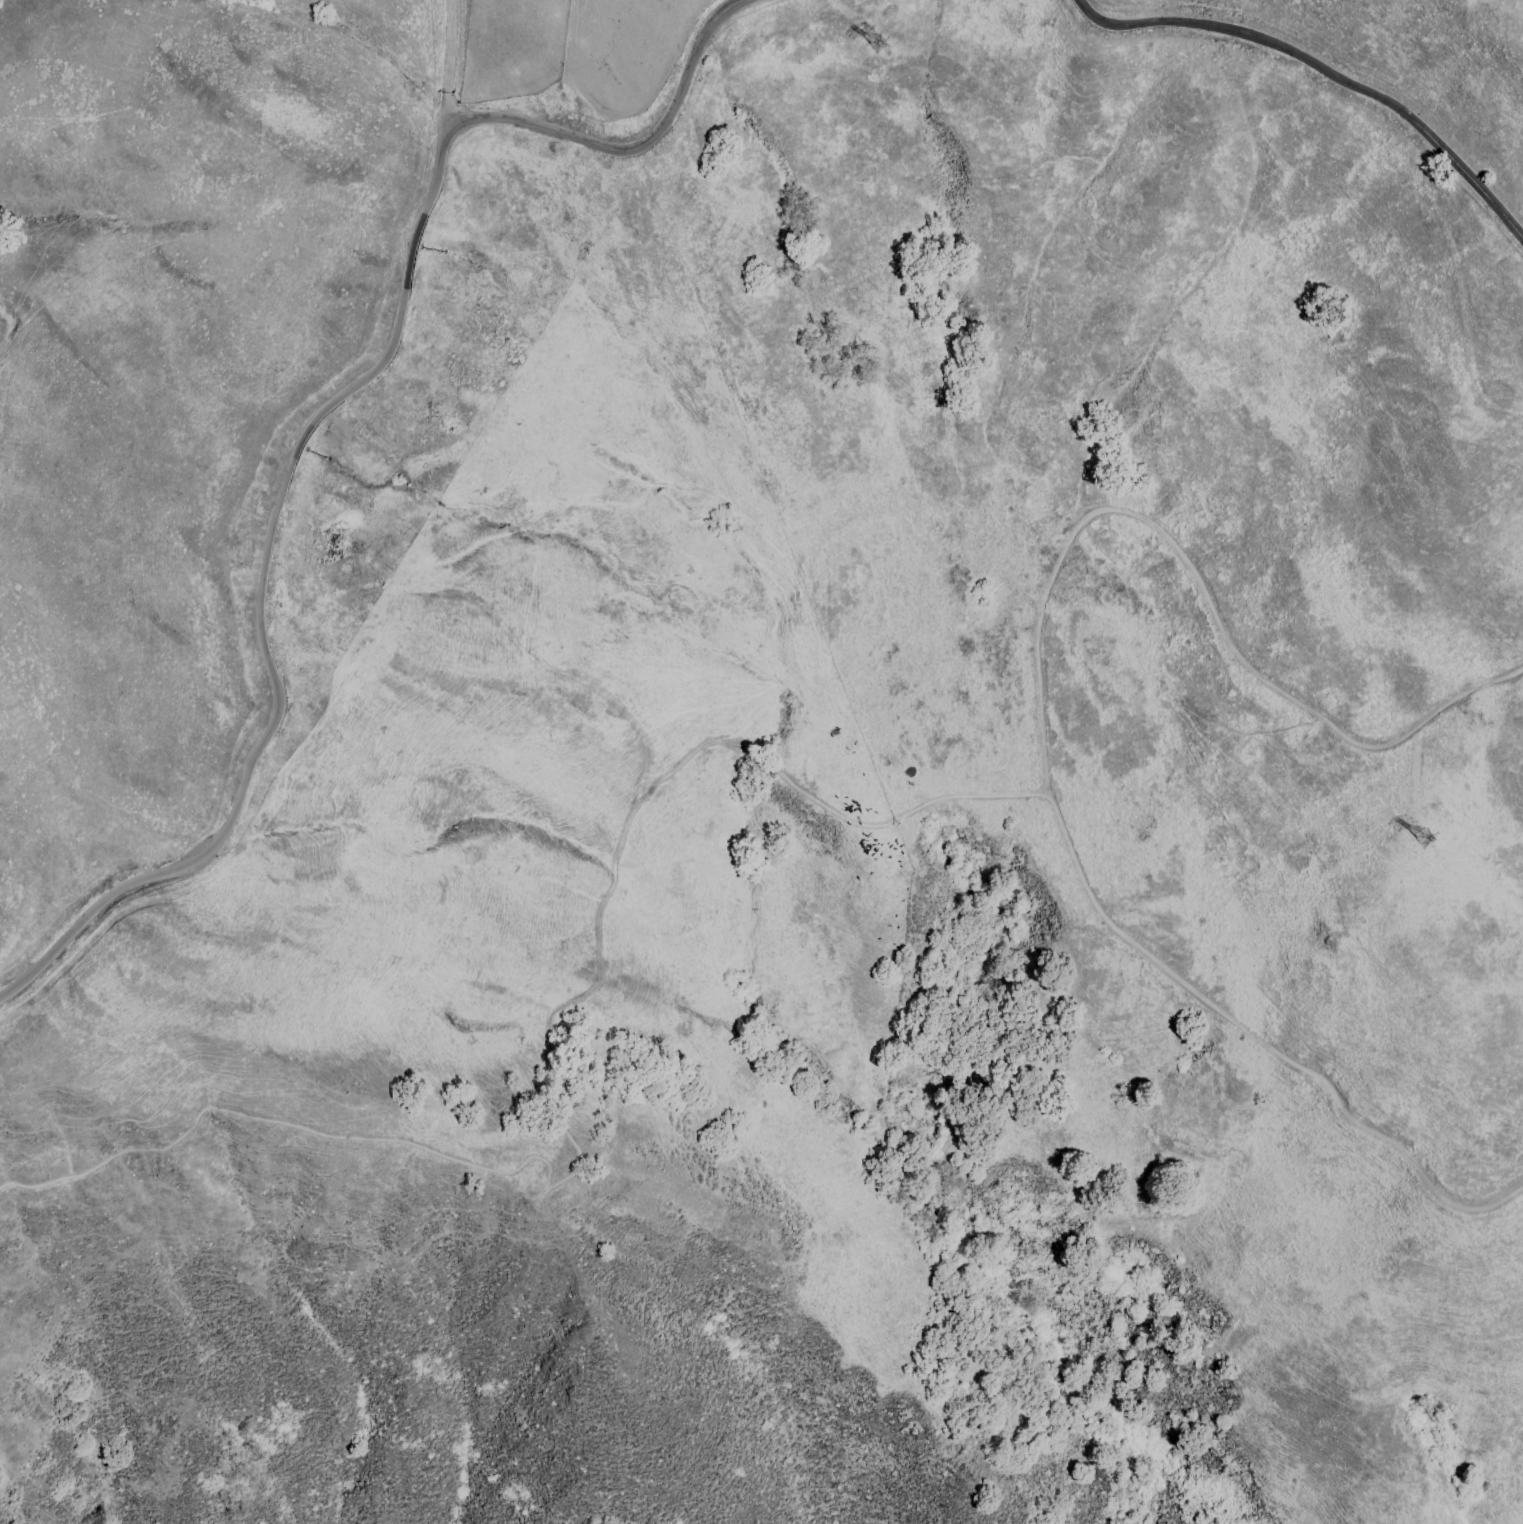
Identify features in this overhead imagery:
power tower: (884, 43)
road: (445, 64)
road: (1323, 71)
road: (315, 421)
road: (1195, 577)
road: (759, 771)
road: (910, 810)
power tower: (1420, 840)
road: (1264, 1040)
road: (576, 1163)

